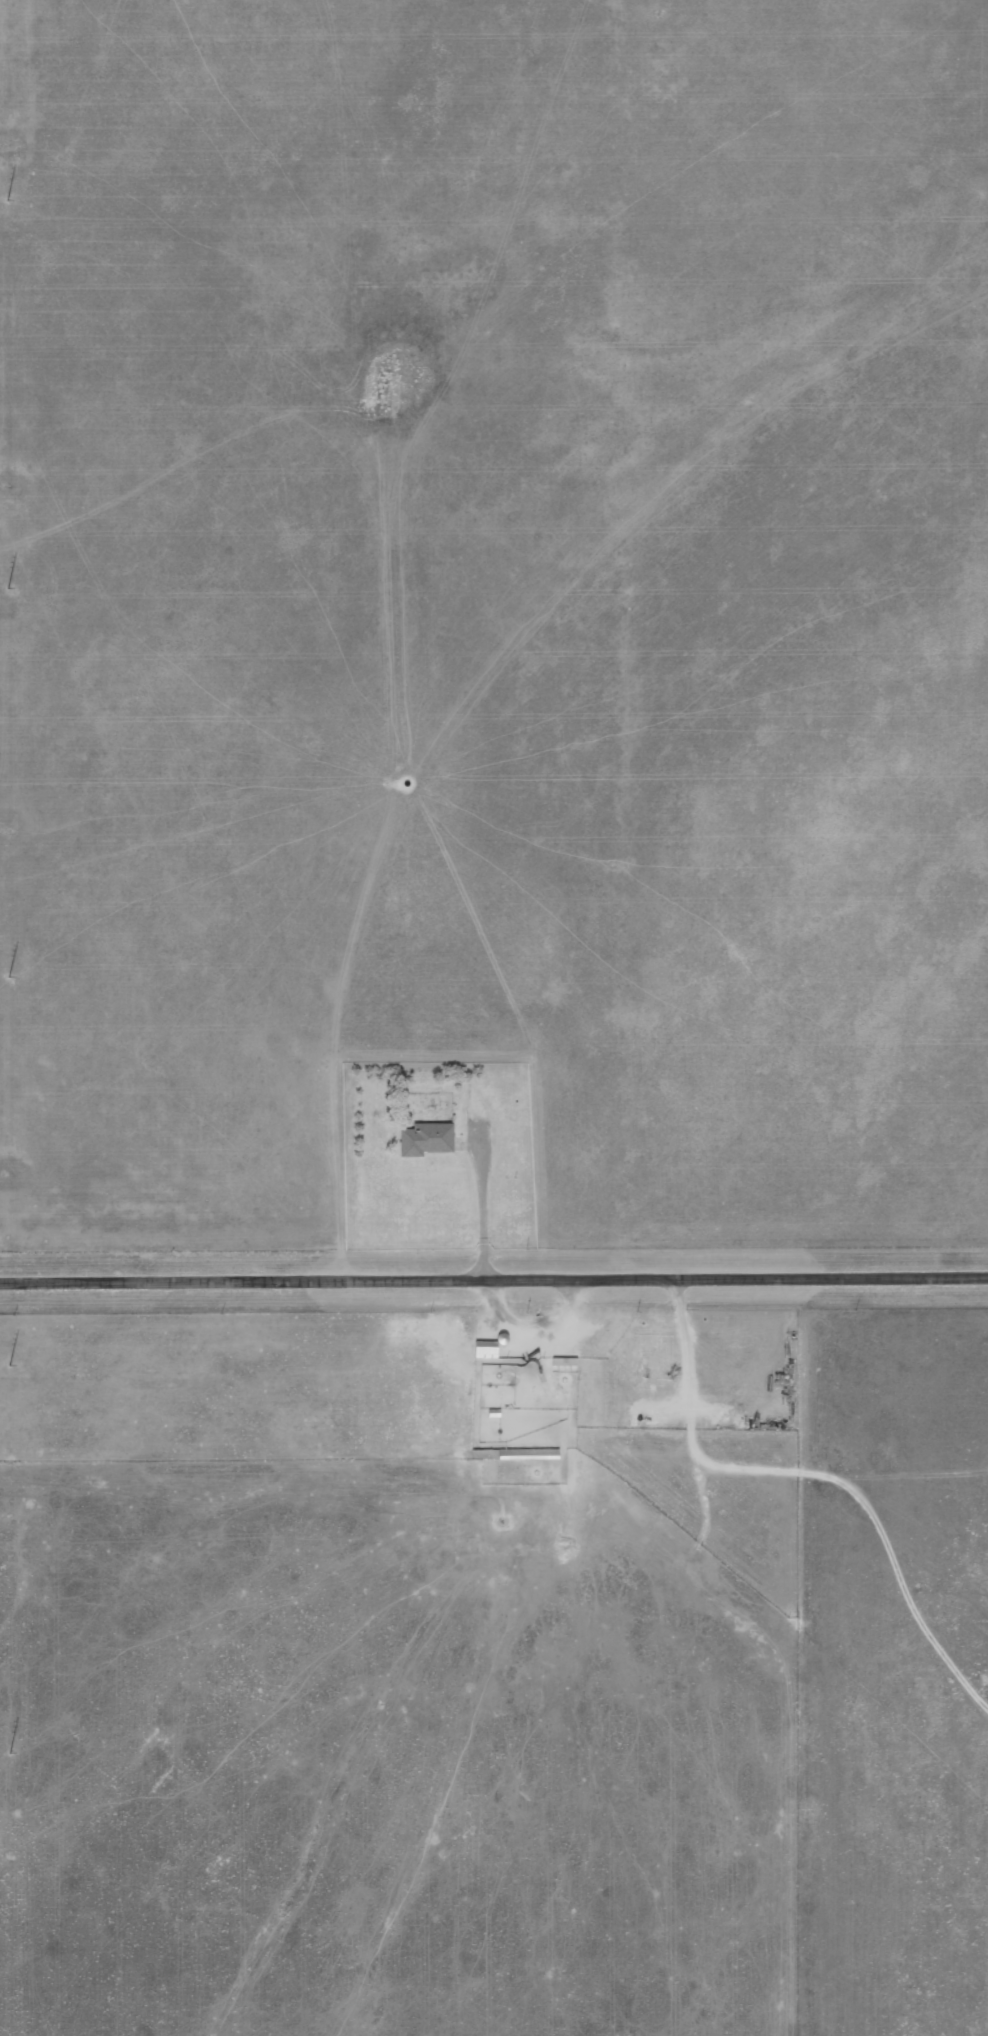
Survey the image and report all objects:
building: (425, 1139)
road: (493, 1276)
building: (483, 1349)
building: (562, 1361)

